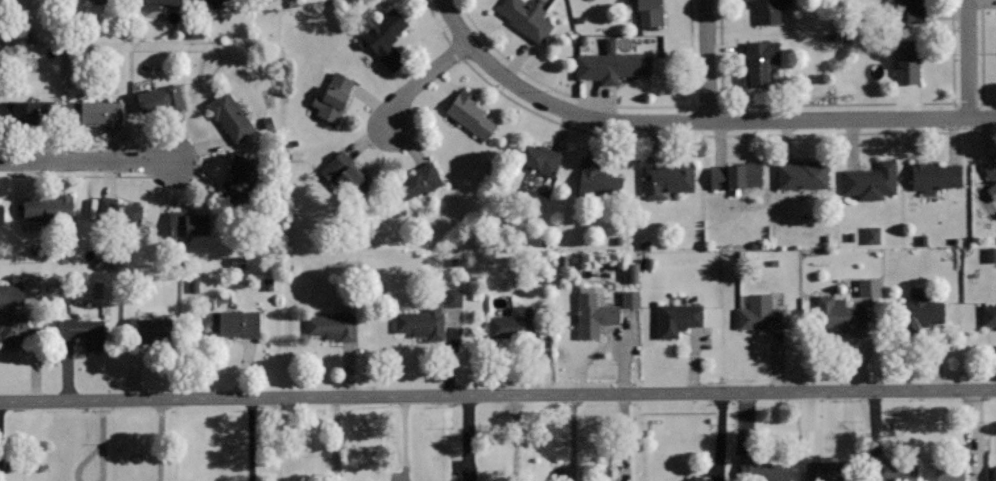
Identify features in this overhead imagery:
building: (101, 2)
building: (213, 2)
building: (155, 3)
building: (768, 11)
building: (908, 11)
building: (650, 12)
building: (527, 18)
road: (435, 21)
building: (385, 34)
road: (454, 50)
road: (968, 59)
road: (980, 59)
road: (707, 60)
building: (761, 60)
building: (907, 60)
building: (611, 66)
road: (421, 81)
building: (334, 96)
building: (152, 100)
road: (606, 104)
road: (835, 104)
road: (554, 105)
building: (30, 111)
building: (97, 112)
building: (229, 114)
building: (471, 115)
road: (852, 119)
road: (717, 136)
road: (74, 145)
building: (538, 157)
road: (87, 161)
building: (342, 173)
building: (736, 175)
building: (803, 175)
building: (991, 175)
road: (73, 176)
building: (935, 176)
building: (667, 179)
building: (419, 181)
building: (598, 181)
building: (871, 181)
building: (239, 184)
building: (48, 206)
building: (119, 212)
building: (1, 213)
building: (187, 223)
building: (870, 235)
building: (990, 255)
building: (631, 273)
building: (867, 287)
building: (10, 294)
building: (450, 297)
building: (628, 298)
building: (919, 310)
building: (594, 311)
building: (761, 313)
building: (841, 315)
building: (989, 315)
building: (679, 318)
building: (423, 322)
building: (236, 323)
building: (511, 323)
building: (333, 325)
building: (11, 326)
building: (152, 328)
building: (85, 333)
road: (498, 396)
road: (571, 438)
building: (763, 469)
building: (827, 470)
building: (891, 470)
building: (948, 472)
building: (994, 473)

